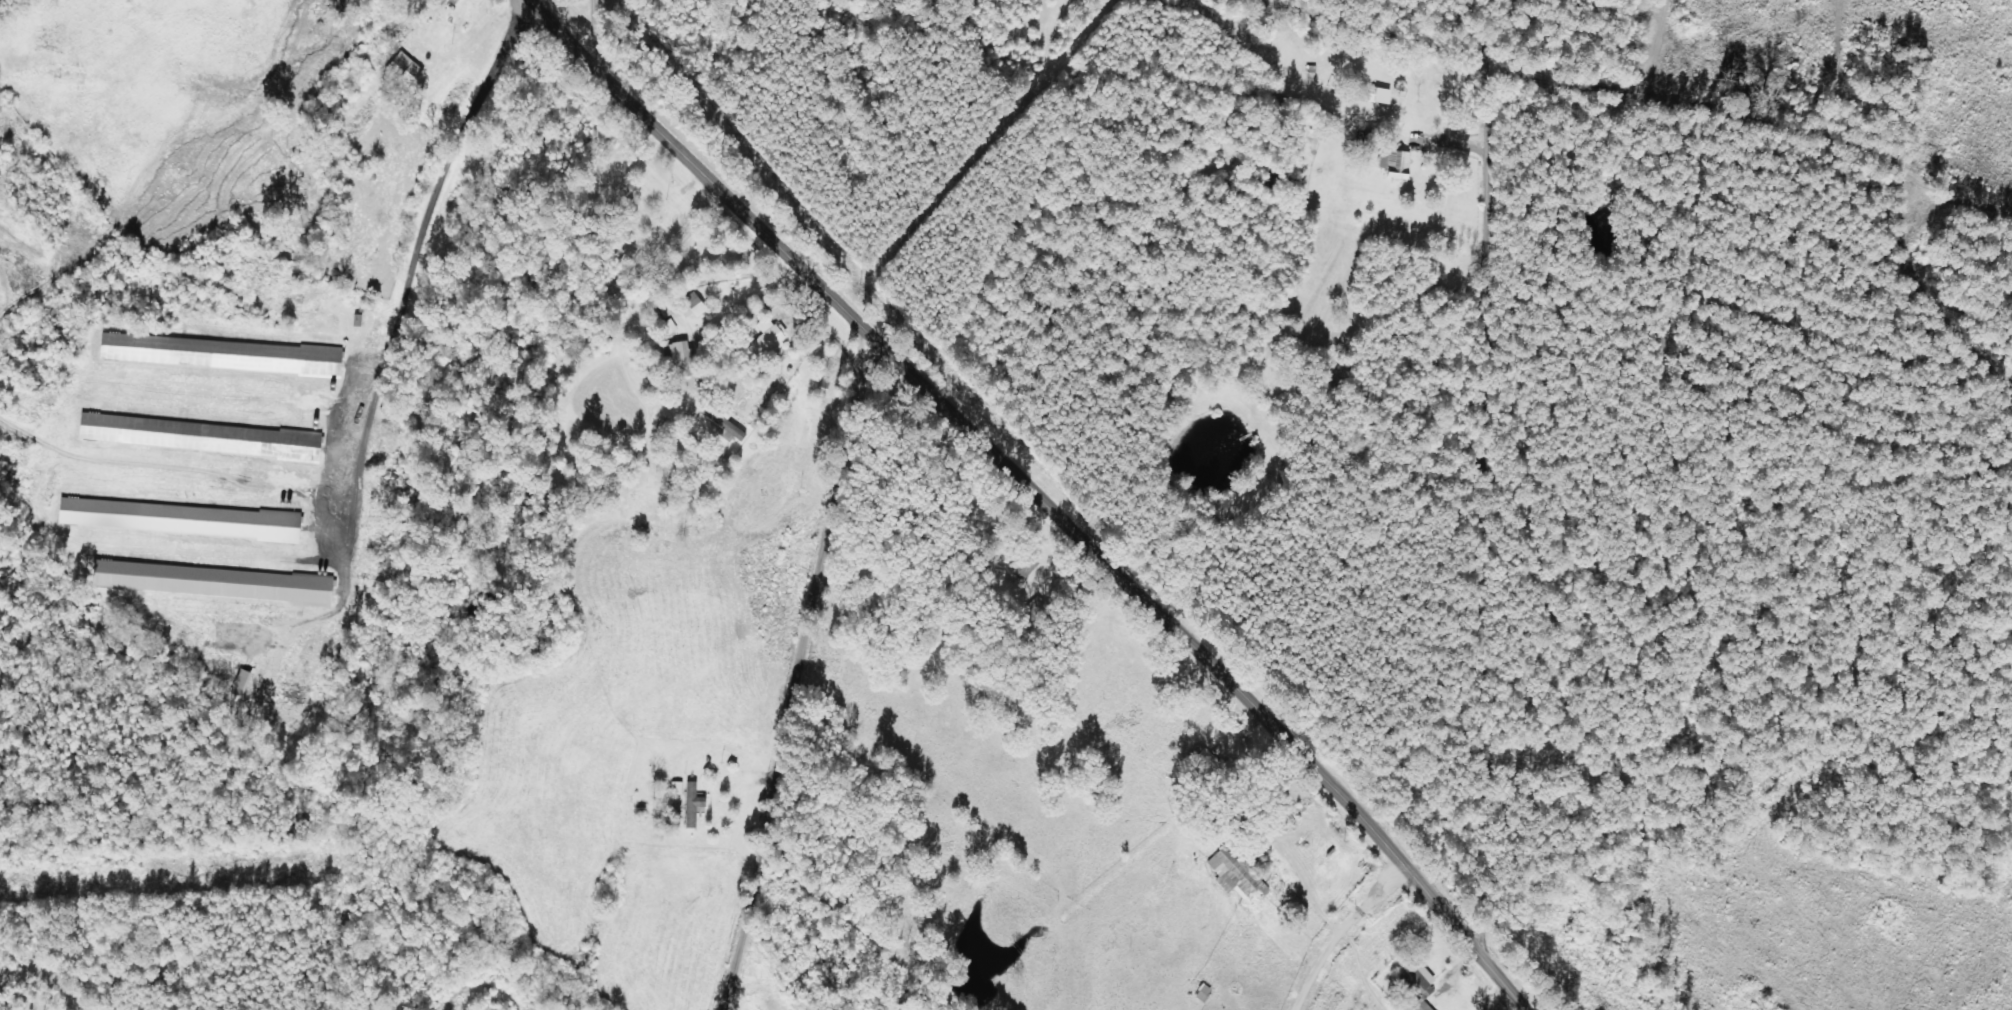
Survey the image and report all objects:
building: (439, 0)
building: (457, 2)
road: (1373, 30)
road: (1493, 30)
building: (407, 70)
building: (1379, 95)
building: (1398, 164)
building: (695, 306)
building: (770, 341)
building: (223, 355)
building: (683, 358)
building: (732, 429)
building: (203, 437)
road: (1495, 494)
road: (1037, 495)
building: (182, 519)
building: (215, 583)
road: (802, 675)
building: (1241, 873)
building: (1423, 985)

